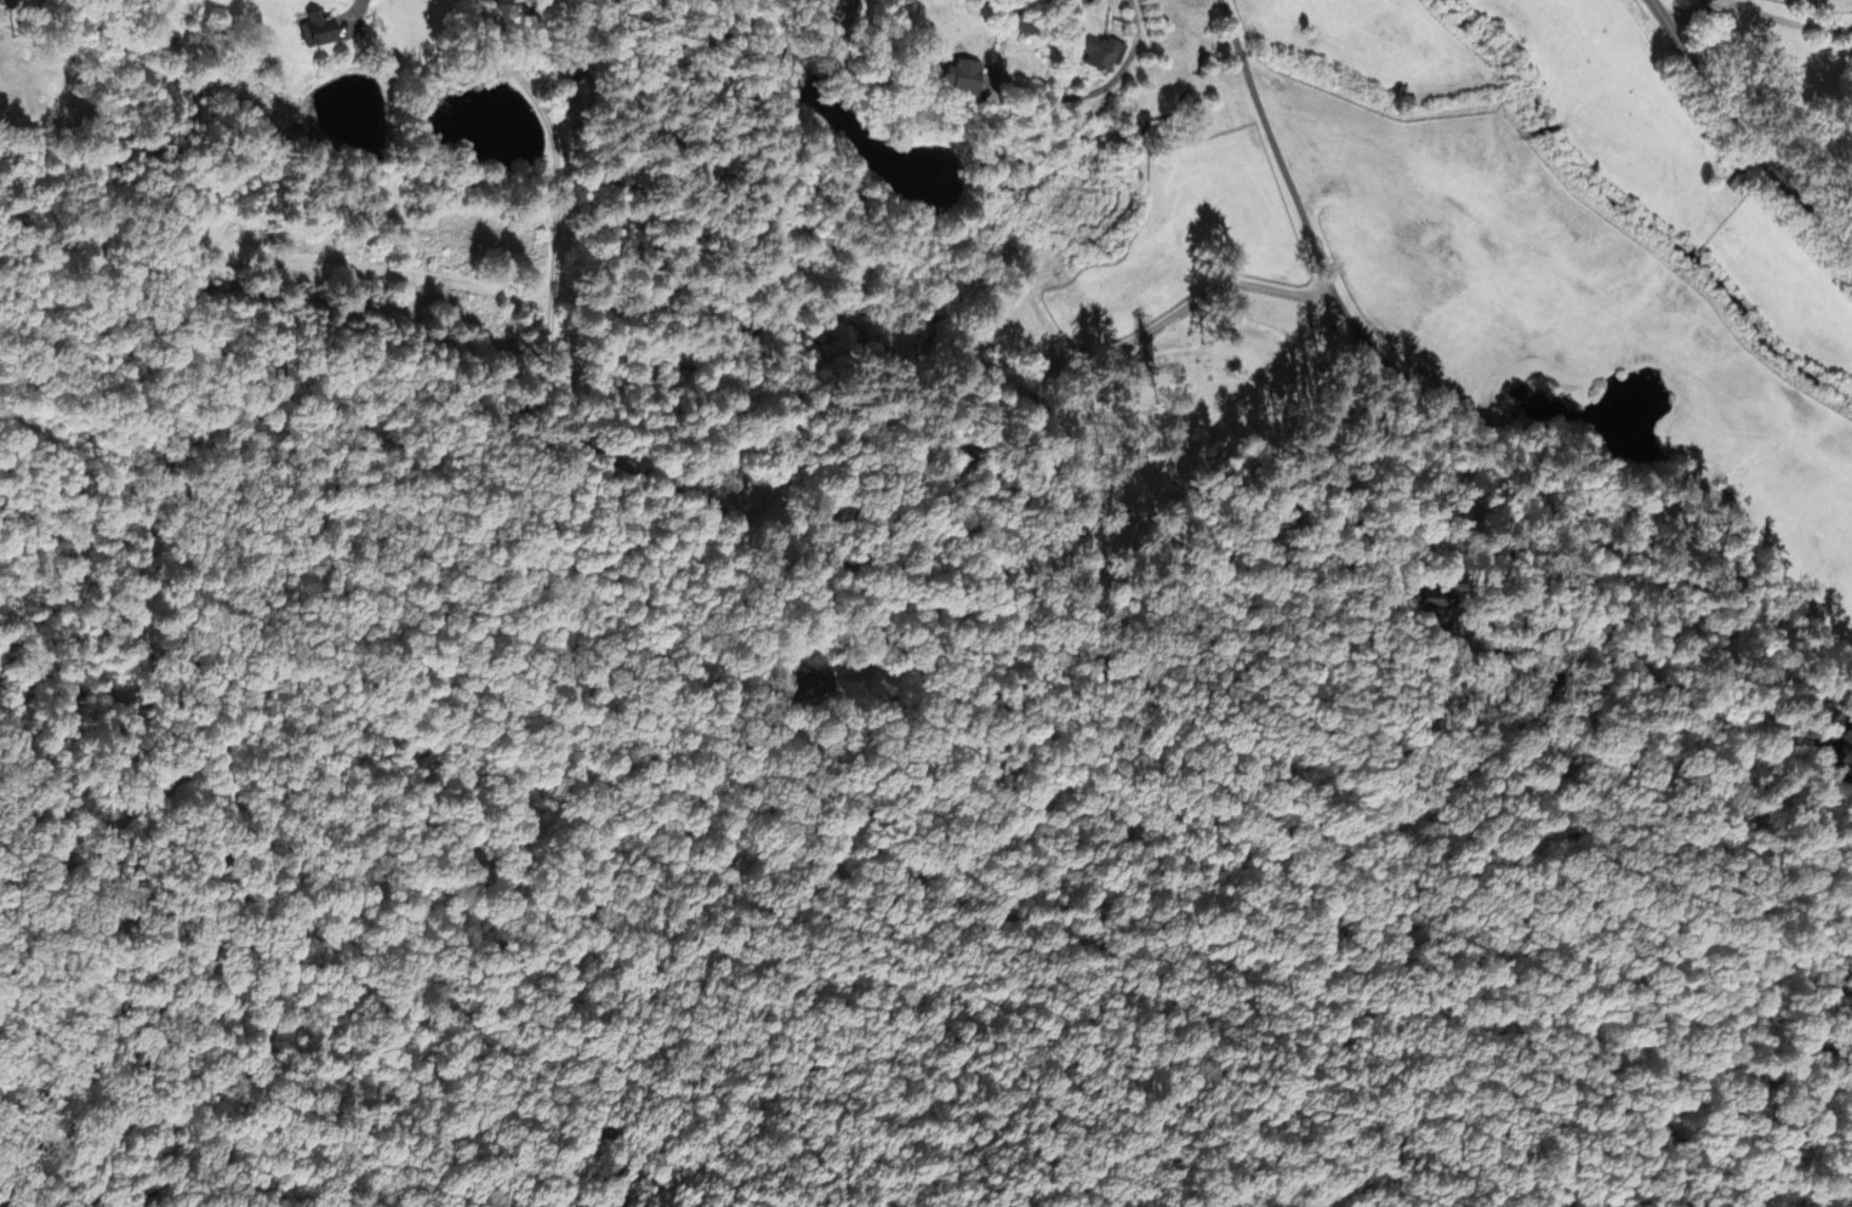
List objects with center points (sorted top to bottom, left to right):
road: (1113, 2)
road: (363, 12)
road: (1757, 28)
building: (323, 33)
building: (1102, 57)
building: (967, 78)
road: (1742, 133)
road: (552, 221)
road: (1475, 461)
road: (90, 523)
building: (1845, 750)
road: (842, 877)

